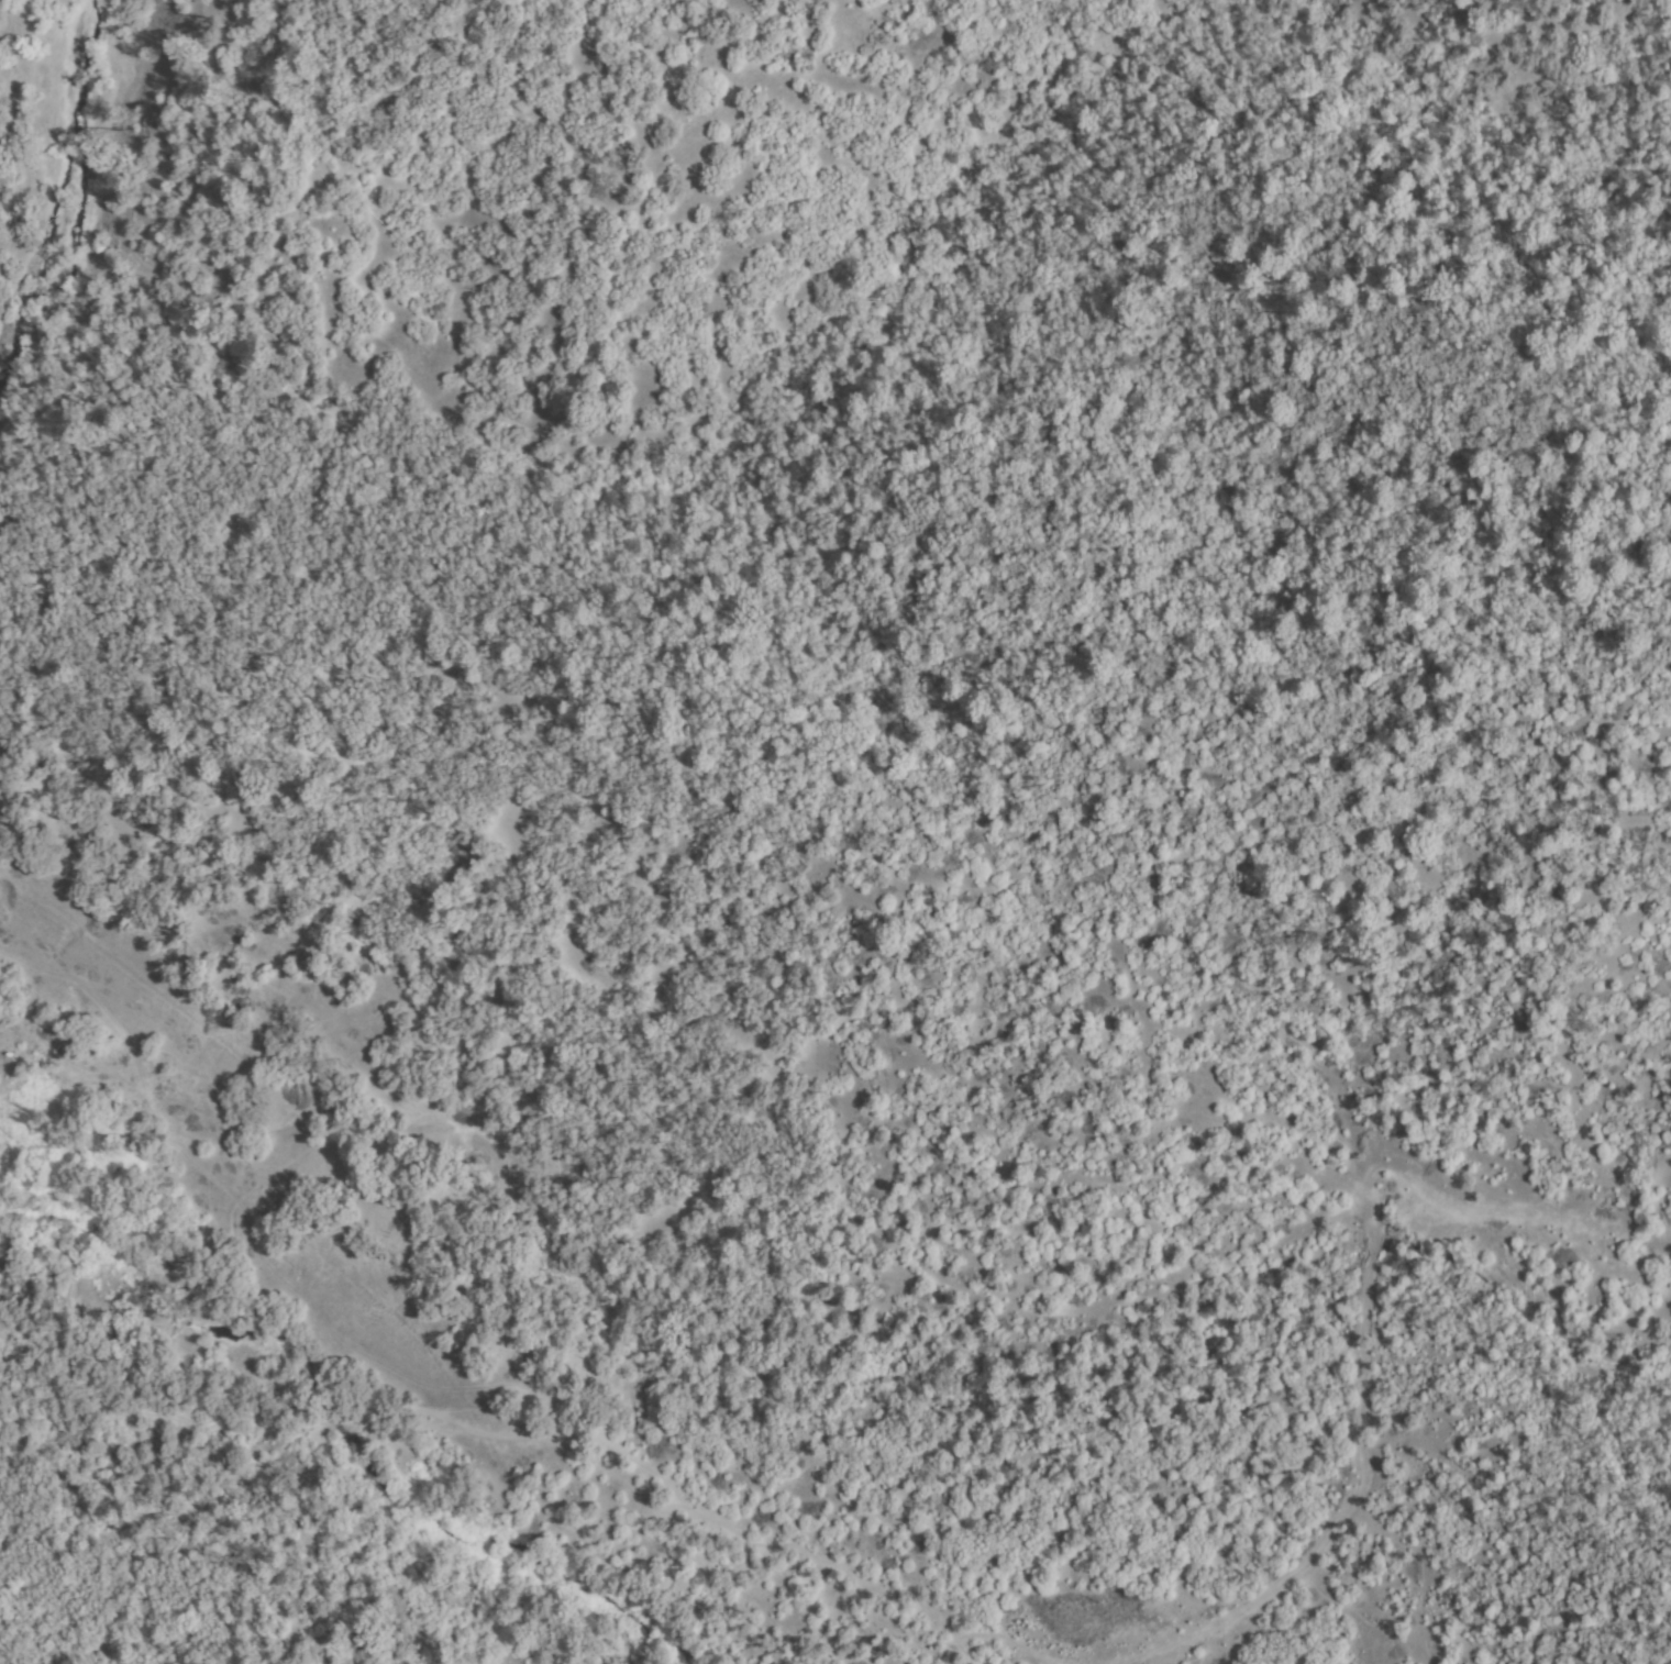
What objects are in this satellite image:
road: (53, 142)

